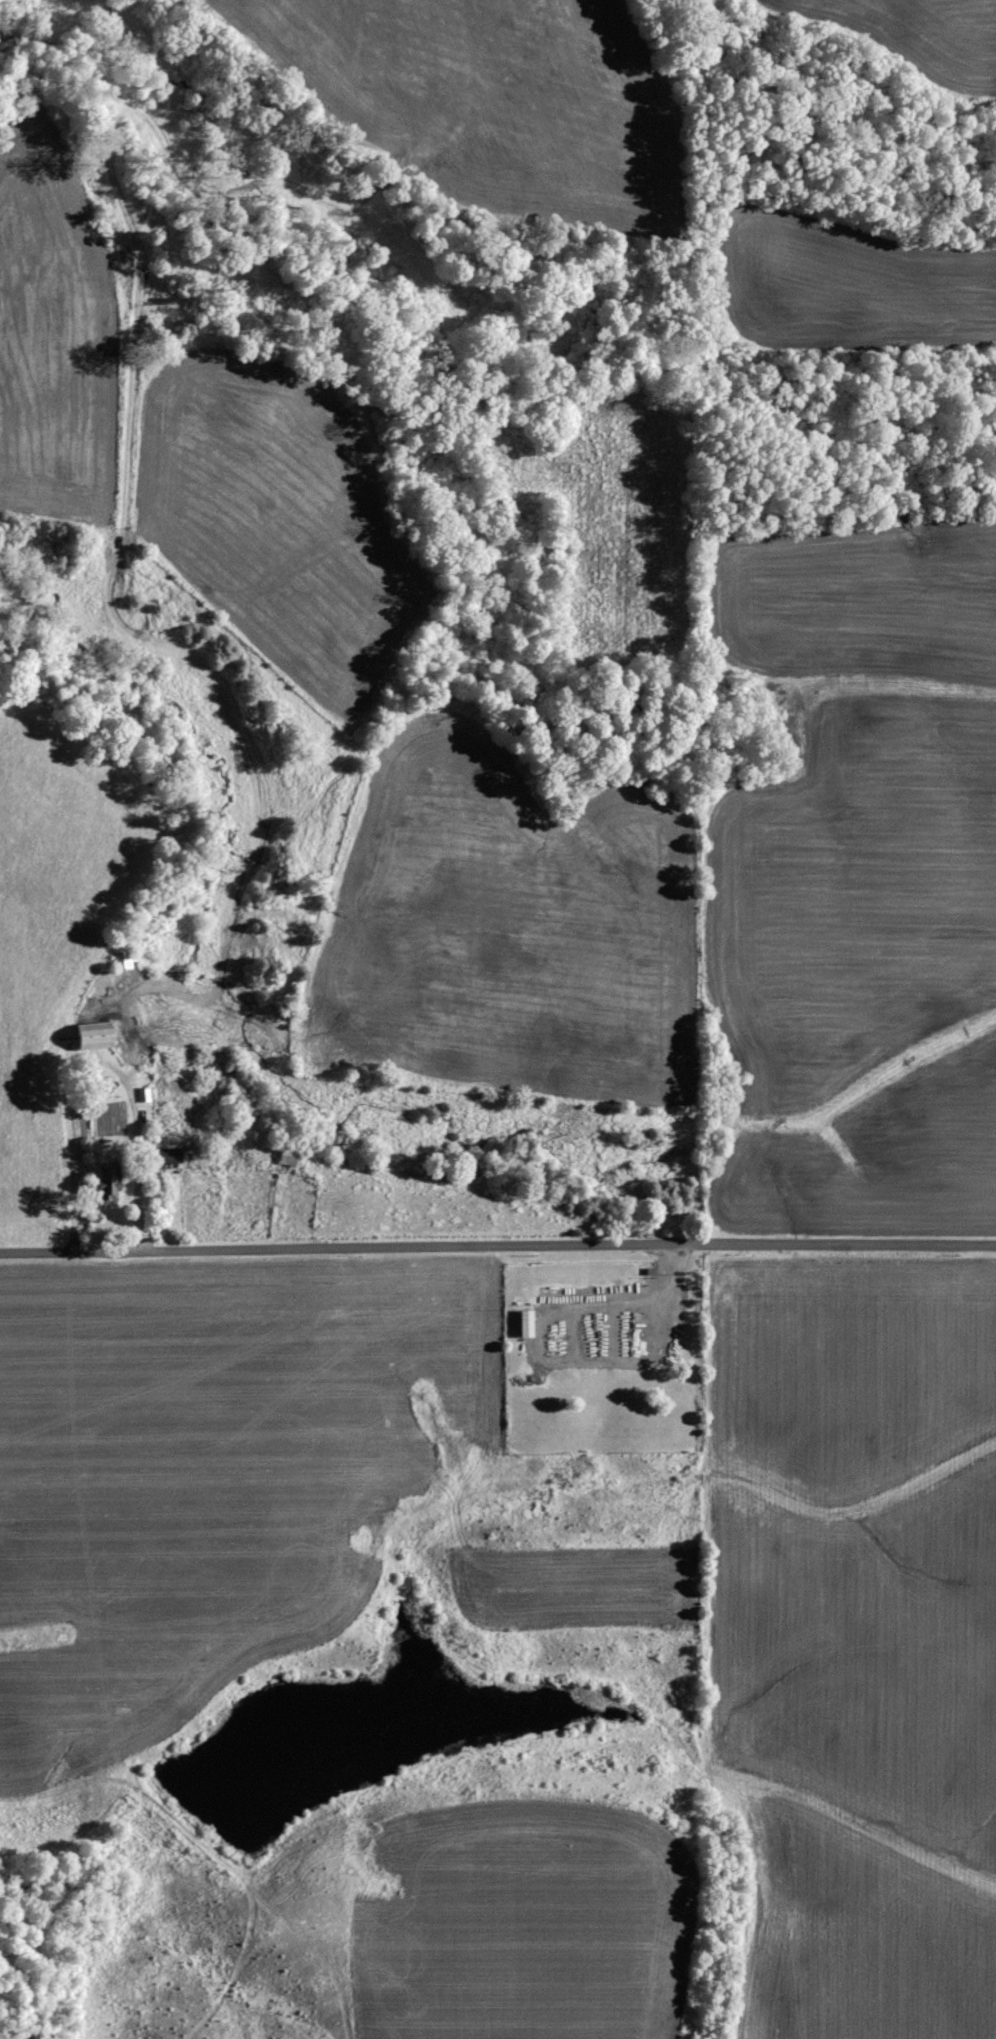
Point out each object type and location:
building: (87, 1037)
building: (164, 1155)
road: (136, 1157)
building: (102, 1184)
road: (497, 1245)
building: (521, 1323)

